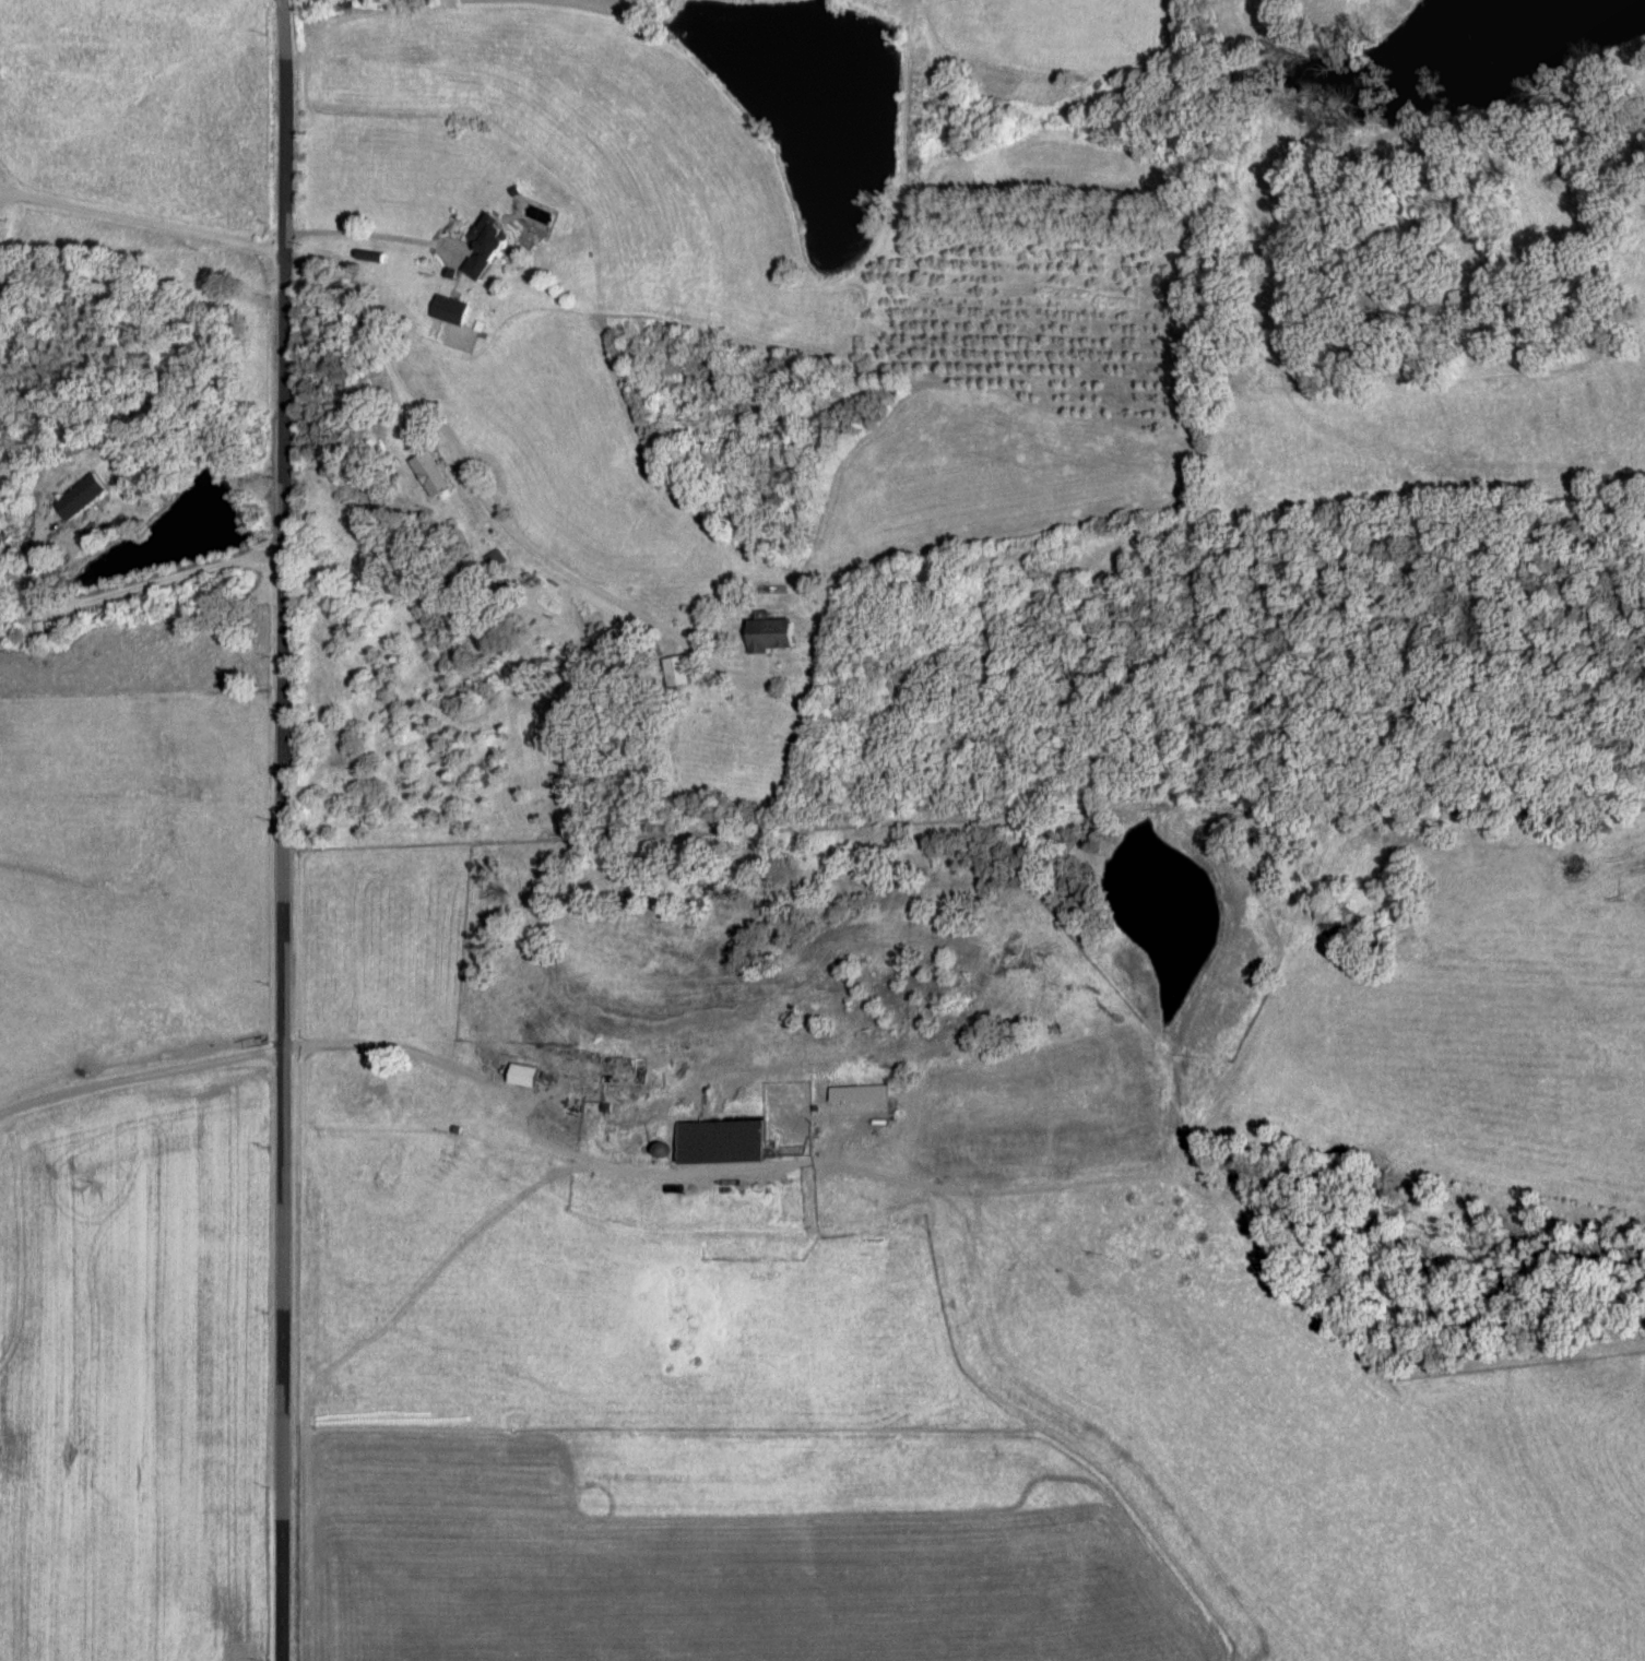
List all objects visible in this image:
road: (1631, 3)
building: (485, 252)
building: (450, 311)
road: (576, 342)
road: (140, 347)
building: (430, 477)
building: (80, 499)
road: (480, 505)
building: (495, 561)
building: (772, 638)
building: (678, 674)
road: (277, 832)
building: (624, 1071)
building: (522, 1077)
road: (138, 1096)
building: (818, 1096)
building: (721, 1143)

